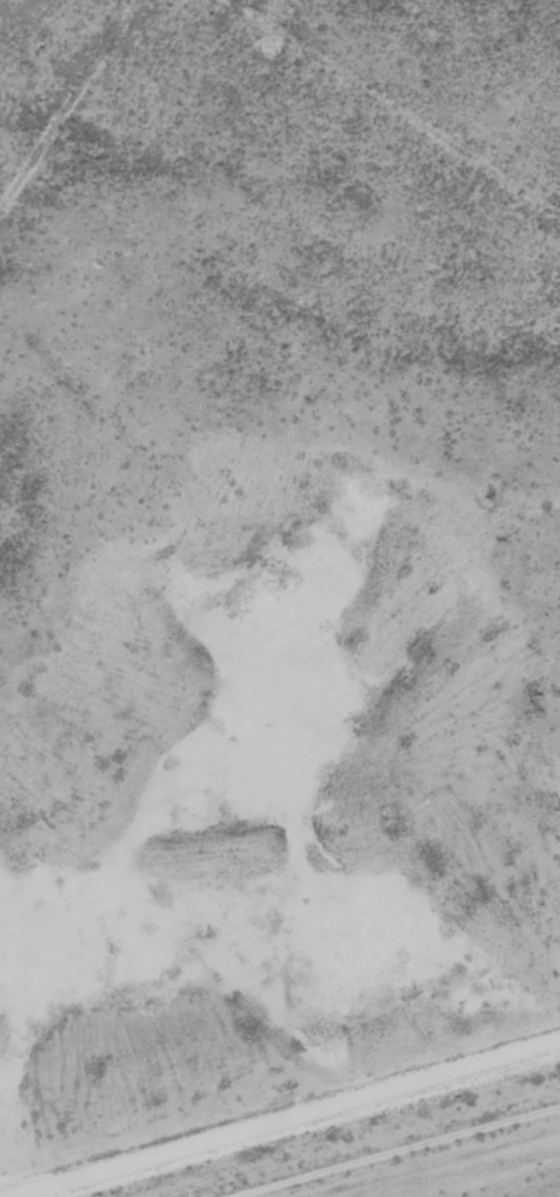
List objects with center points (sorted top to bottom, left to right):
road: (330, 1130)

